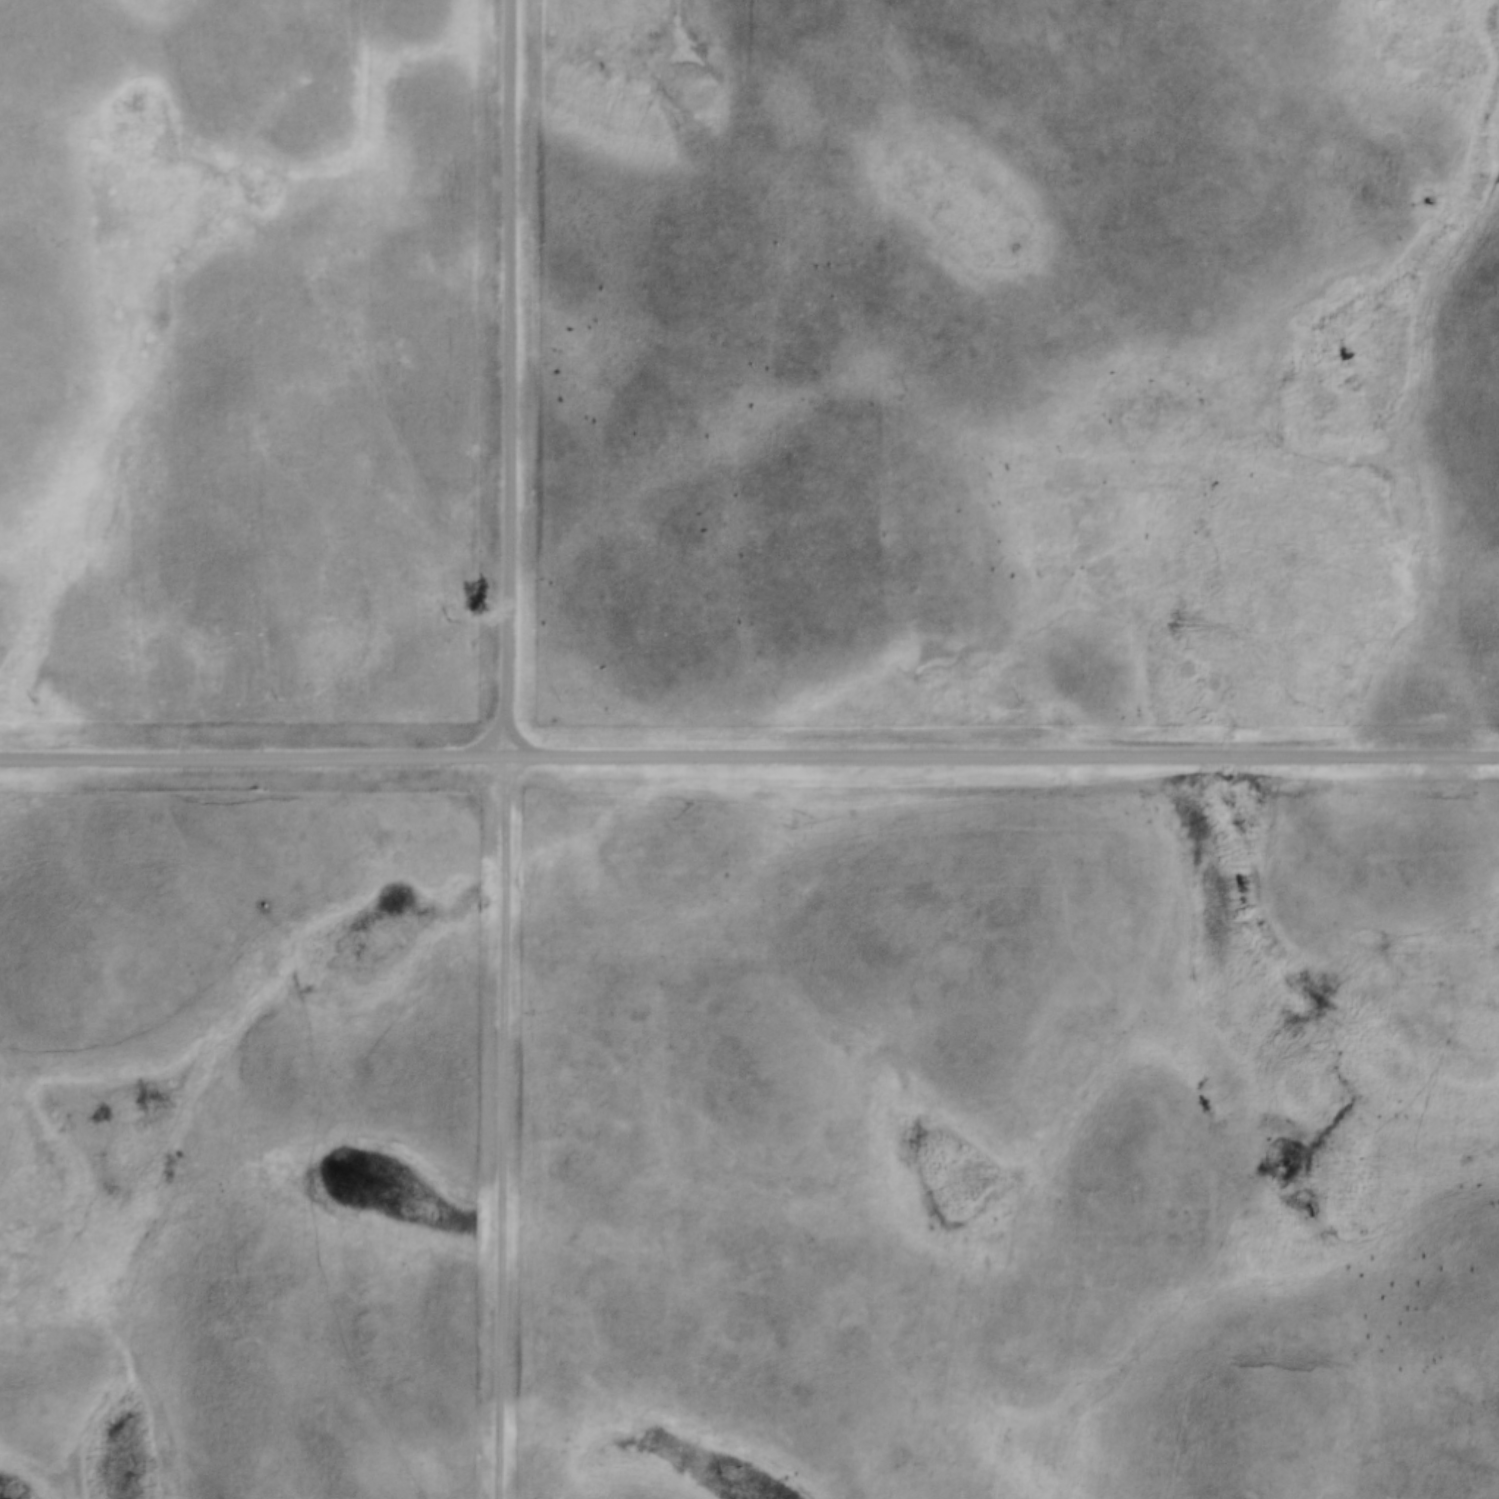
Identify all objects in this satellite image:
road: (504, 381)
road: (749, 760)
road: (498, 1130)

